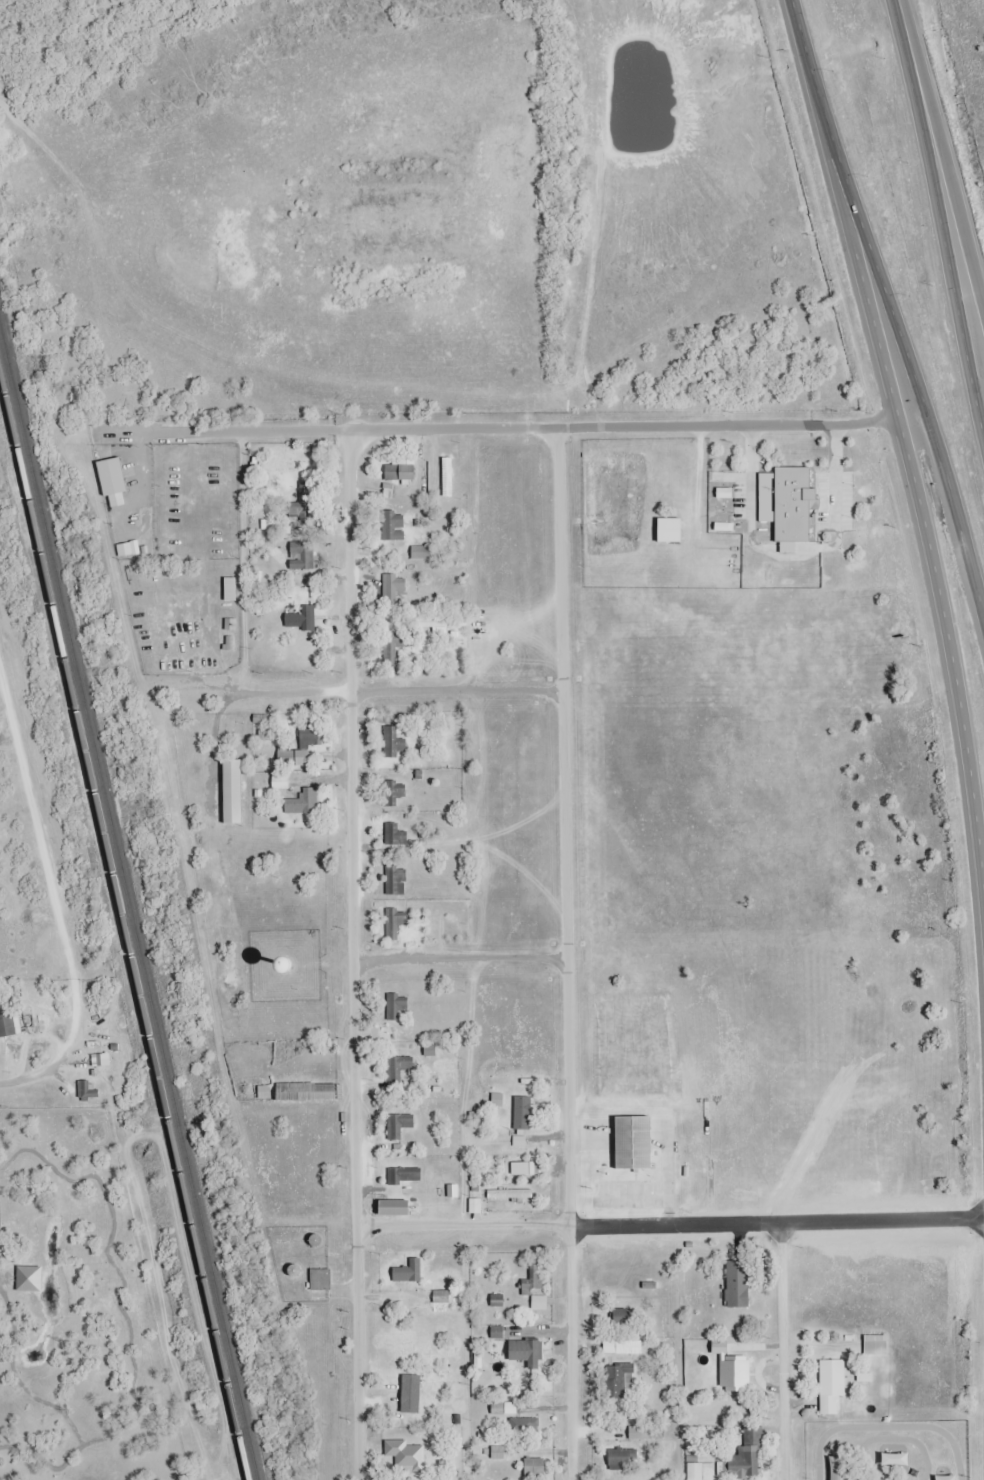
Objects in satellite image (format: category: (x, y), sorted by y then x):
road: (903, 23)
road: (811, 84)
road: (946, 180)
road: (942, 233)
road: (888, 317)
road: (625, 430)
road: (979, 436)
building: (401, 472)
building: (113, 475)
road: (923, 537)
road: (965, 543)
building: (400, 585)
building: (231, 588)
building: (440, 624)
building: (394, 650)
building: (308, 742)
building: (396, 742)
building: (281, 781)
building: (396, 793)
building: (396, 836)
building: (396, 879)
railway: (128, 894)
railway: (124, 922)
building: (396, 923)
road: (357, 956)
road: (570, 956)
building: (8, 1025)
building: (523, 1113)
building: (399, 1129)
building: (409, 1175)
building: (511, 1192)
building: (395, 1207)
road: (568, 1228)
building: (534, 1280)
building: (738, 1284)
building: (876, 1344)
building: (629, 1346)
road: (790, 1351)
building: (620, 1379)
building: (832, 1384)
building: (407, 1455)
building: (744, 1456)
building: (625, 1458)
building: (536, 1467)
building: (695, 1471)

